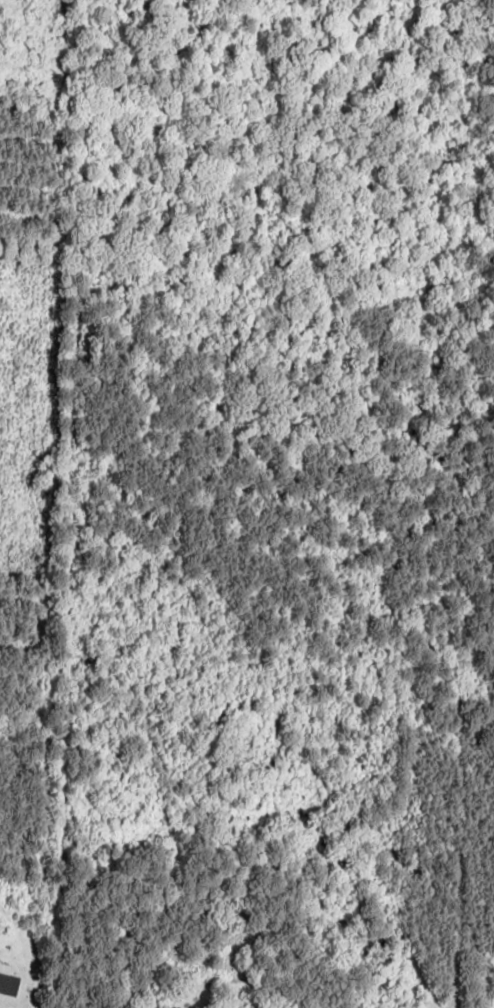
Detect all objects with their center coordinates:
building: (9, 977)

